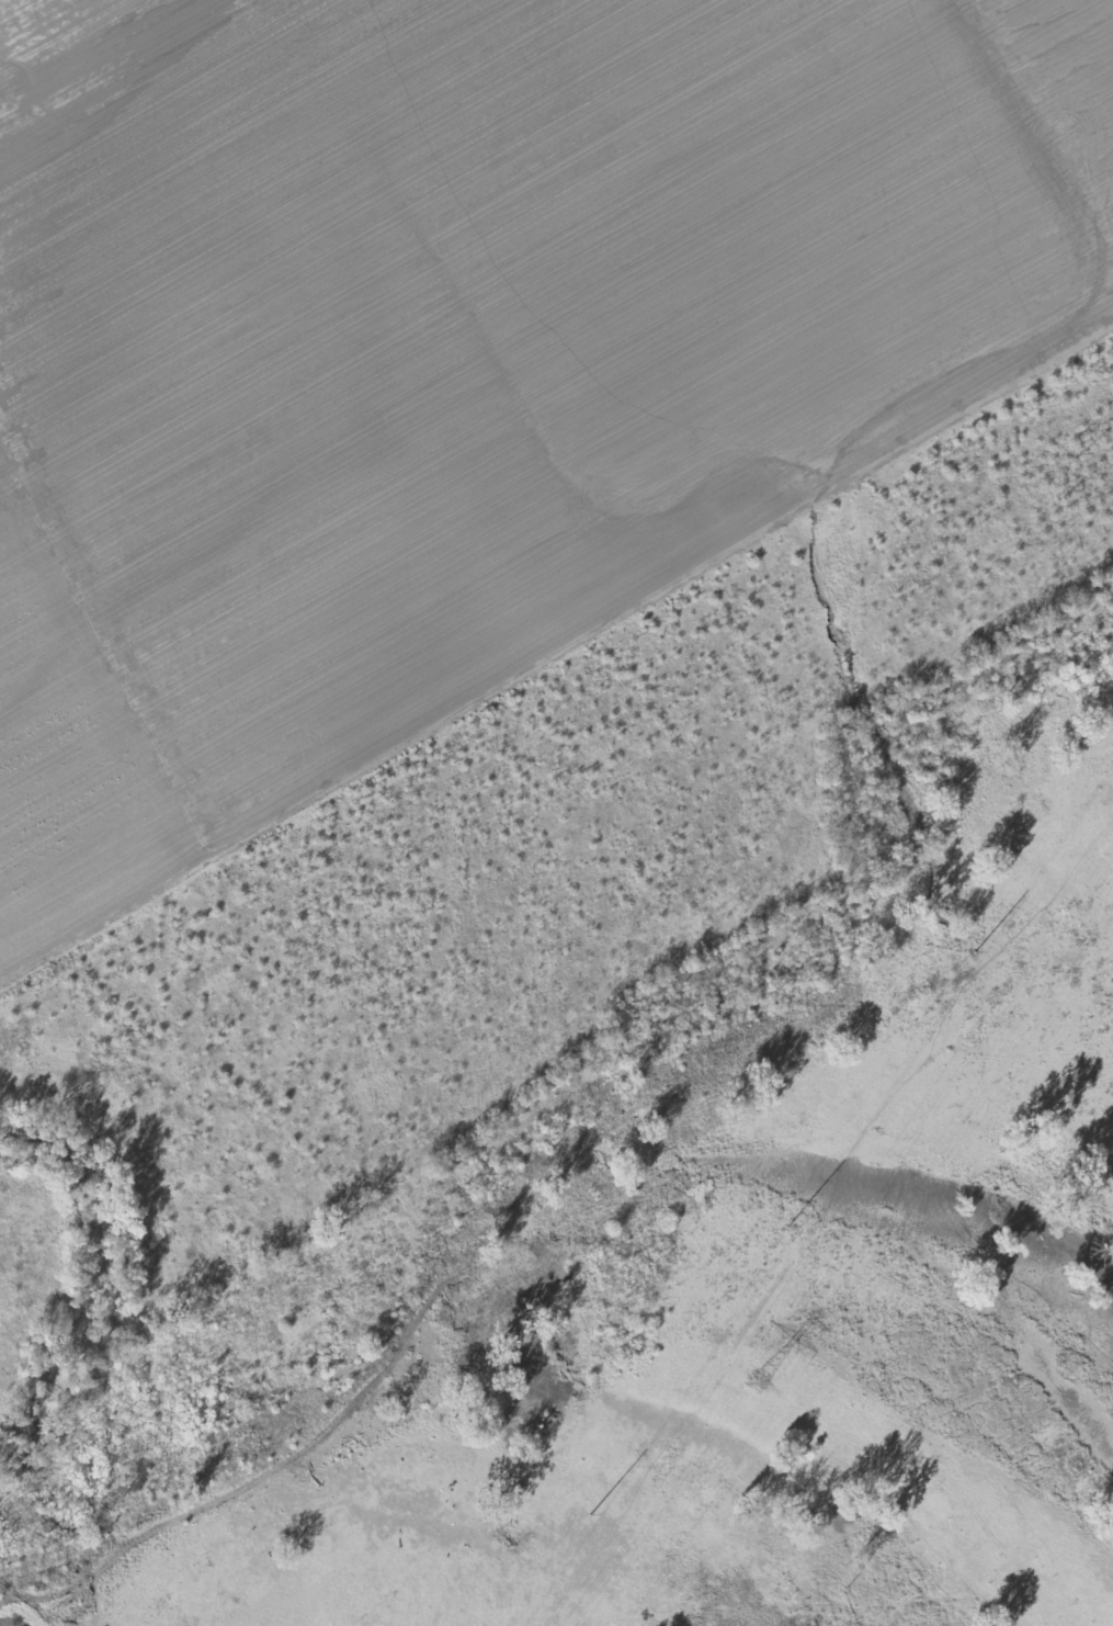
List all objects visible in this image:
power tower: (979, 949)
power tower: (791, 1227)
power tower: (758, 1385)
power tower: (592, 1516)

